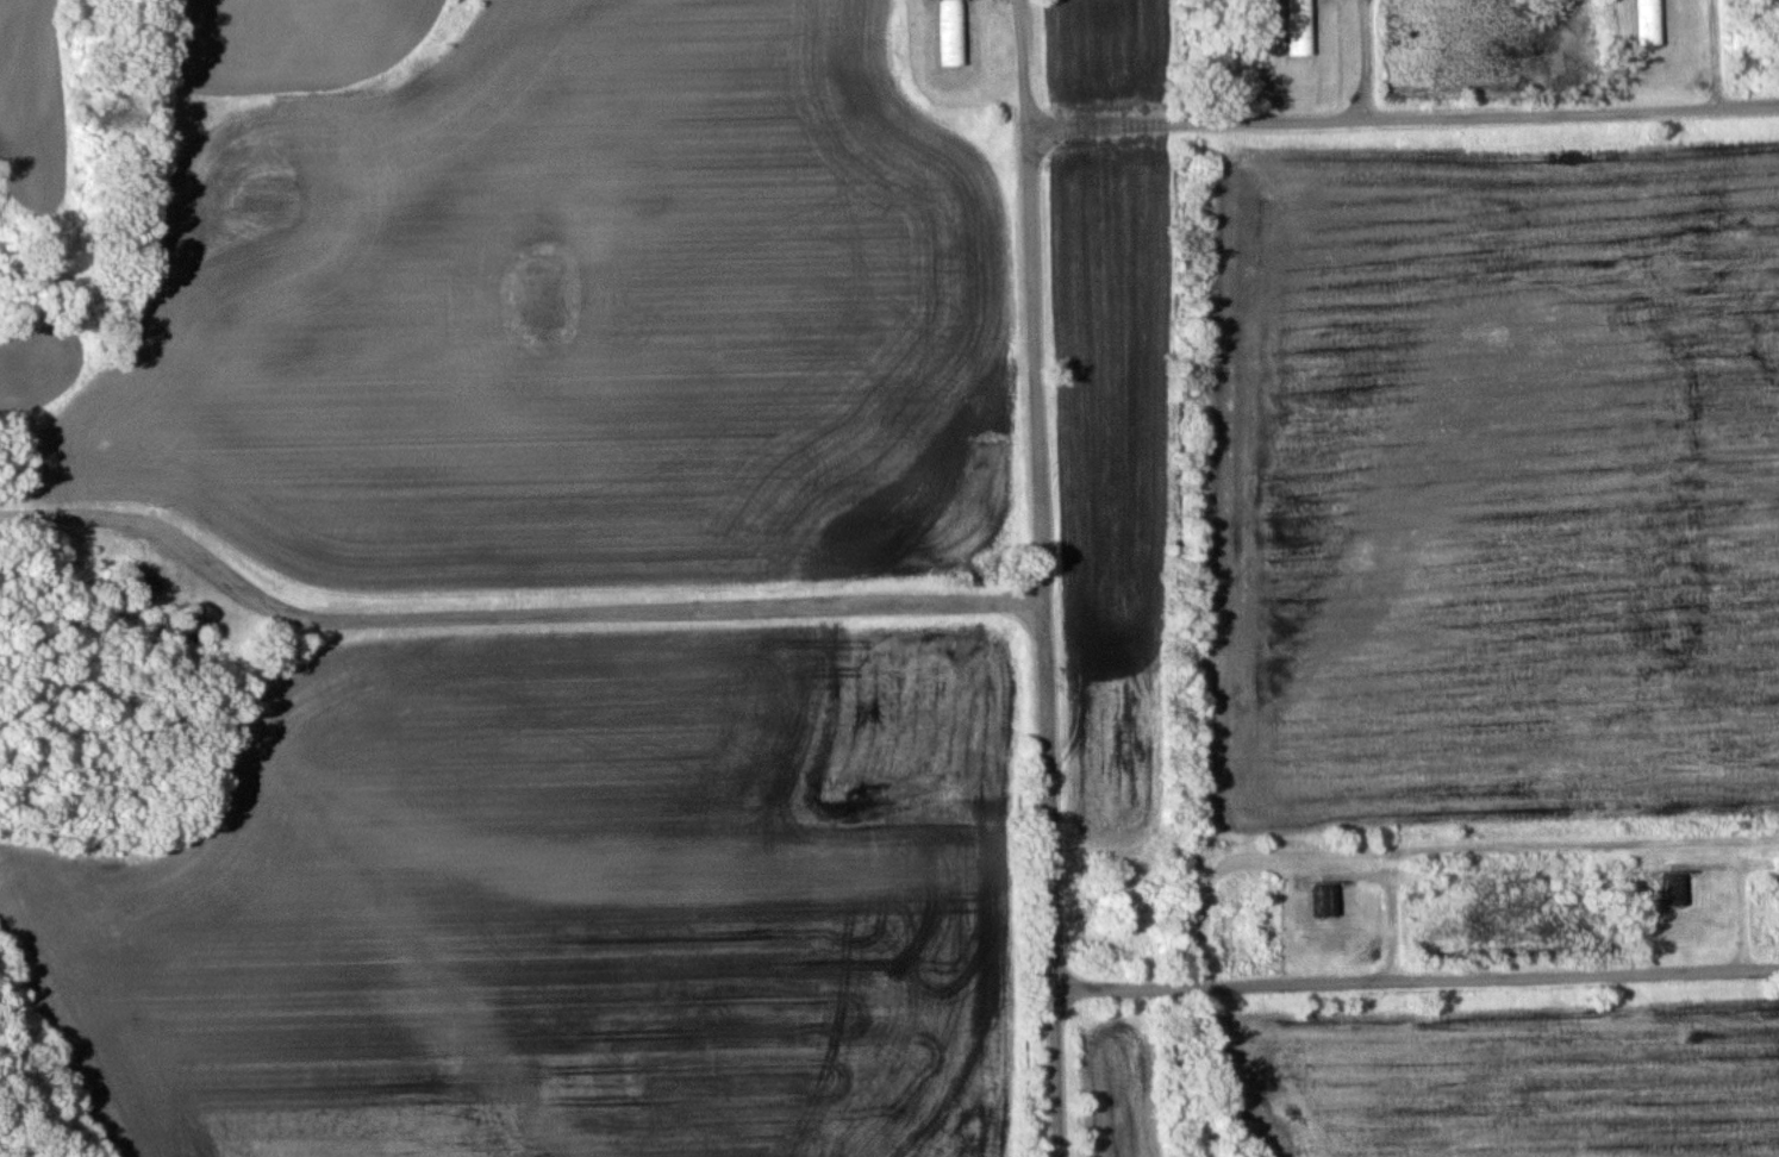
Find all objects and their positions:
building: (1648, 21)
building: (1300, 40)
road: (1374, 57)
road: (1405, 114)
road: (1035, 578)
building: (141, 587)
road: (505, 613)
building: (194, 623)
road: (1741, 896)
building: (1325, 899)
road: (1397, 909)
road: (1416, 983)

